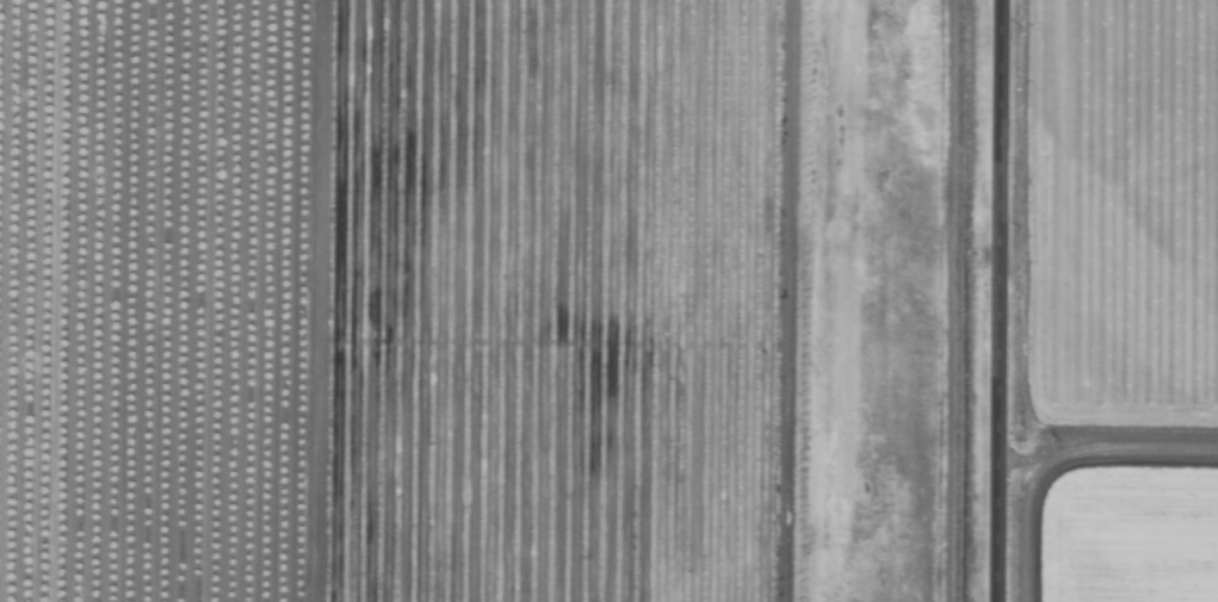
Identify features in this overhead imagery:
road: (997, 300)
airport: (904, 302)
road: (1106, 448)

